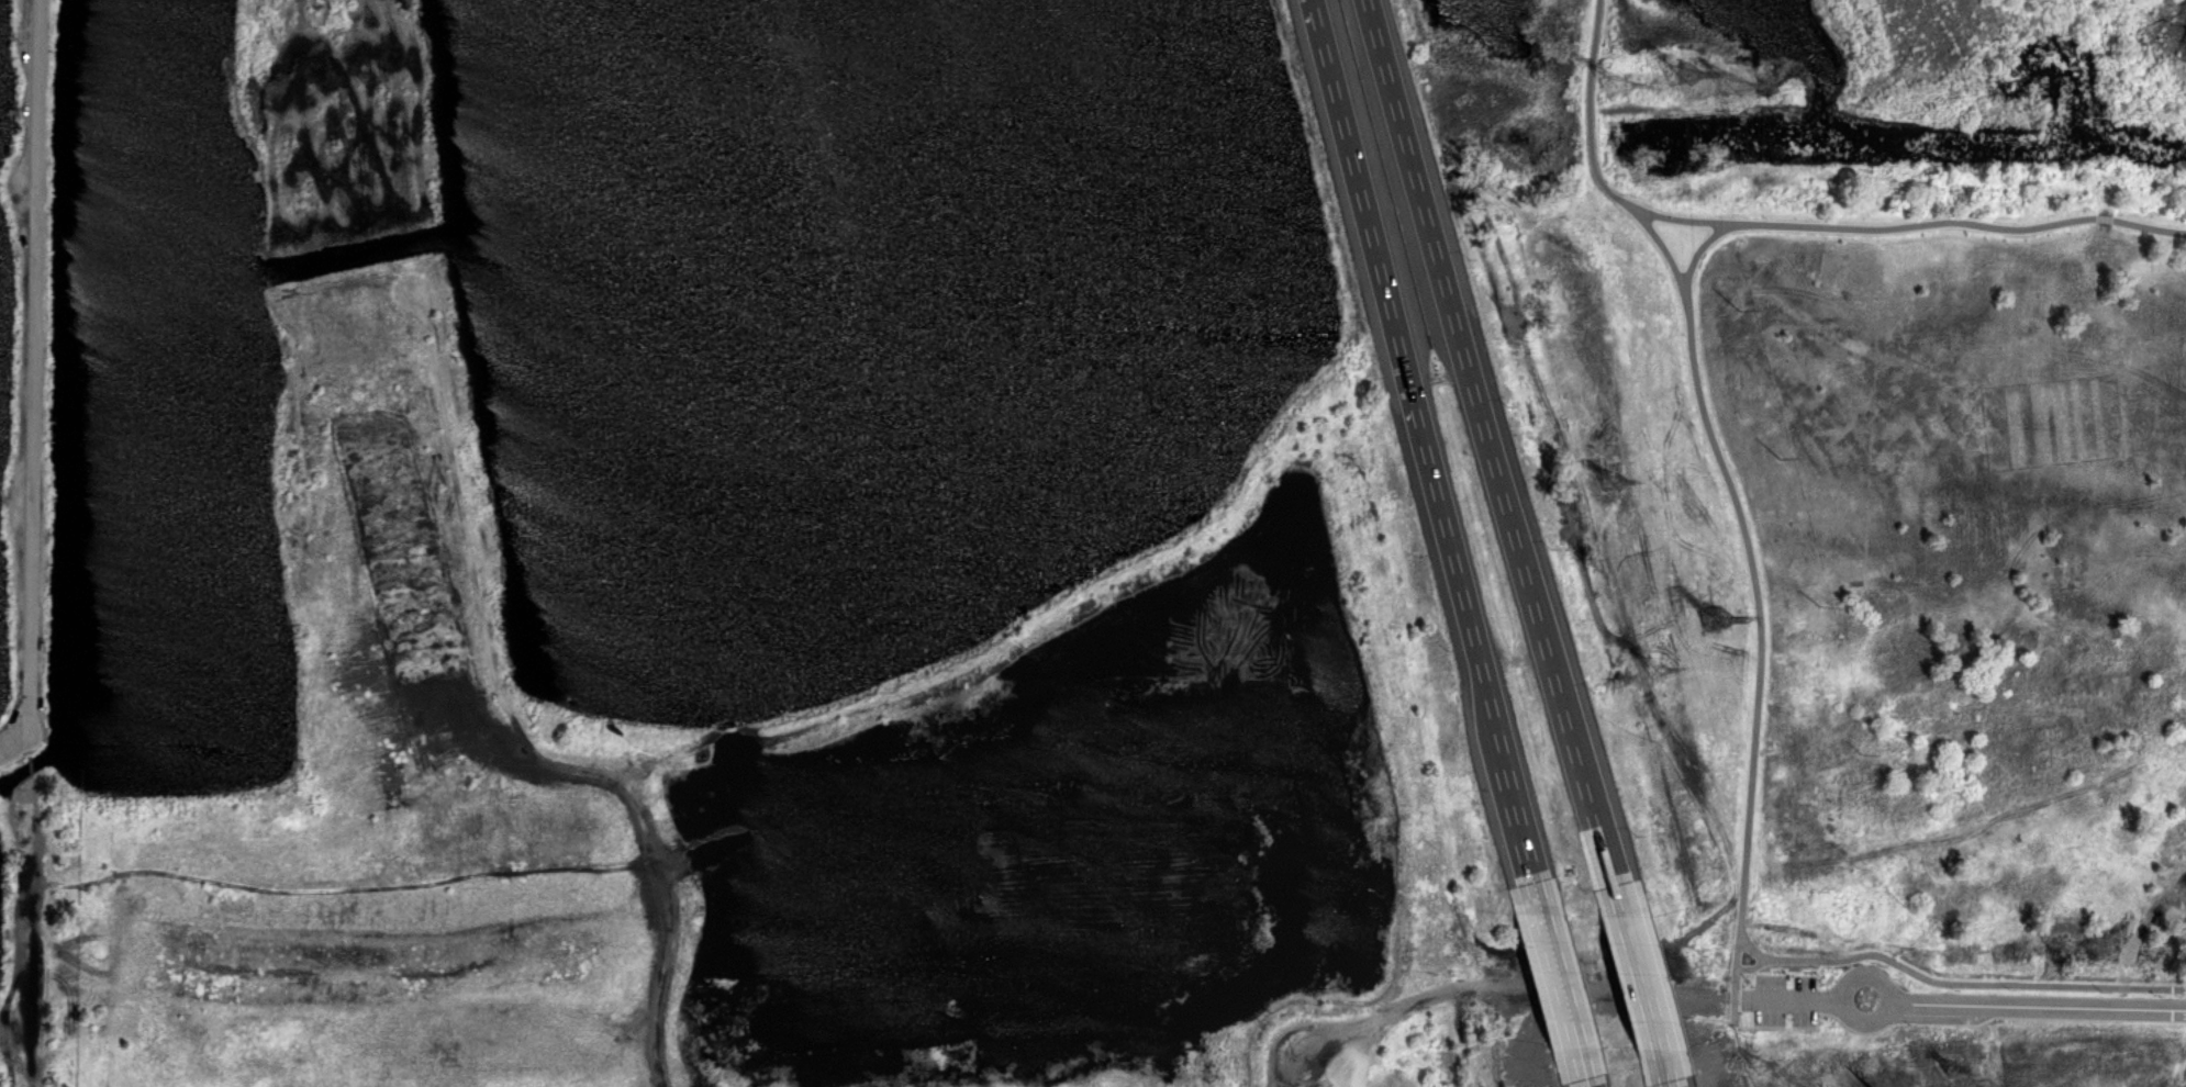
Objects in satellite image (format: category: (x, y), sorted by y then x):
power tower: (1672, 77)
power tower: (1729, 85)
power tower: (1617, 89)
road: (1587, 108)
road: (1681, 218)
road: (1963, 222)
road: (1666, 253)
road: (1694, 257)
power tower: (1733, 313)
road: (1407, 371)
road: (36, 383)
road: (1491, 451)
power tower: (1777, 458)
power tower: (1616, 484)
park: (32, 595)
power tower: (1820, 606)
power tower: (1716, 620)
road: (1758, 621)
power tower: (1660, 671)
road: (517, 725)
power tower: (1861, 757)
road: (31, 766)
road: (1517, 822)
power tower: (1903, 906)
road: (1546, 937)
road: (1740, 968)
road: (1870, 974)
road: (1636, 982)
road: (1956, 983)
road: (1473, 985)
road: (1786, 1000)
road: (2045, 1006)
road: (1562, 1013)
road: (1571, 1015)
road: (1869, 1020)
power tower: (1953, 1063)
road: (1573, 1072)
road: (1592, 1072)
road: (1661, 1073)

